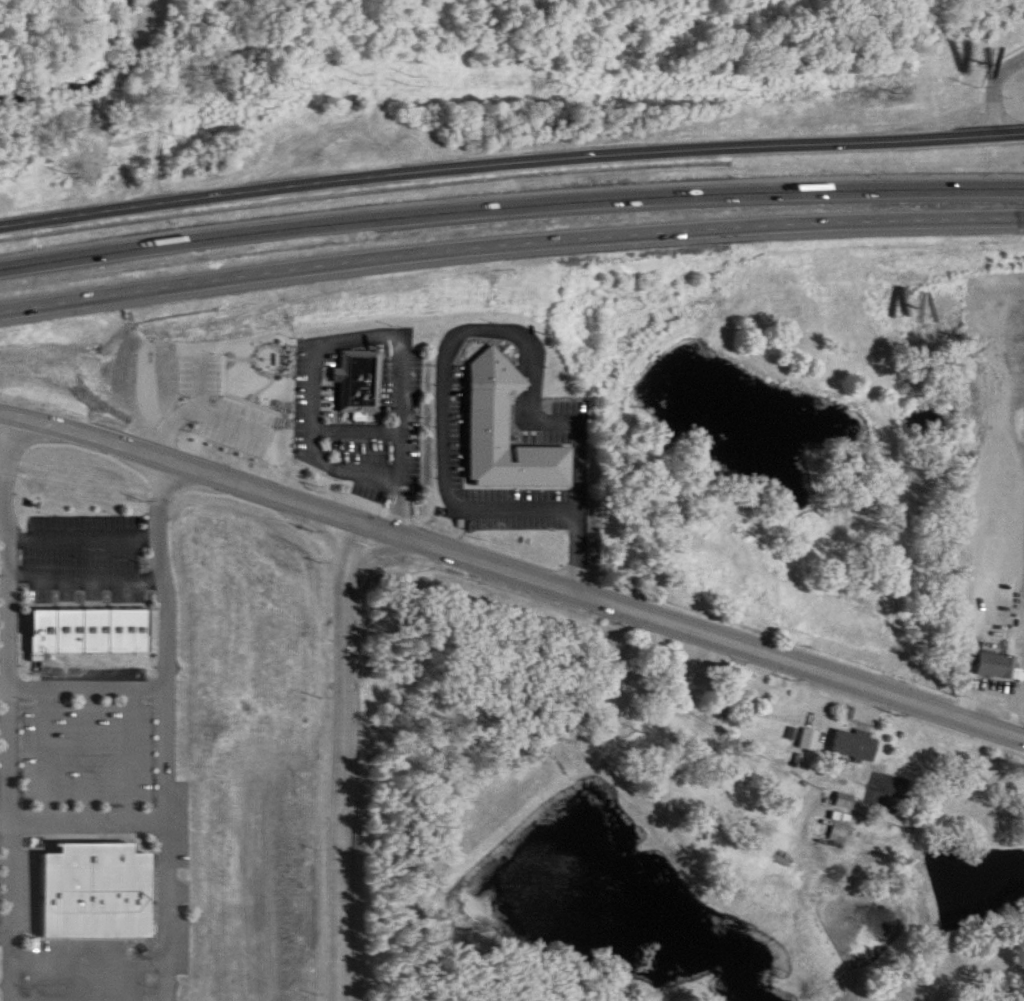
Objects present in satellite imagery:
road: (992, 75)
road: (1005, 118)
road: (491, 155)
road: (510, 205)
road: (510, 244)
road: (447, 353)
road: (226, 359)
road: (256, 366)
building: (356, 366)
park: (241, 386)
road: (255, 396)
road: (311, 398)
building: (502, 416)
road: (210, 418)
road: (176, 424)
road: (357, 428)
road: (404, 436)
road: (167, 490)
road: (289, 490)
road: (4, 504)
road: (87, 527)
road: (88, 567)
building: (85, 618)
road: (801, 652)
building: (998, 653)
road: (87, 678)
road: (14, 701)
building: (811, 741)
road: (96, 745)
road: (140, 745)
road: (52, 746)
building: (857, 747)
road: (347, 756)
road: (90, 813)
building: (841, 834)
road: (181, 850)
building: (97, 891)
road: (6, 920)
road: (98, 956)
road: (11, 998)

